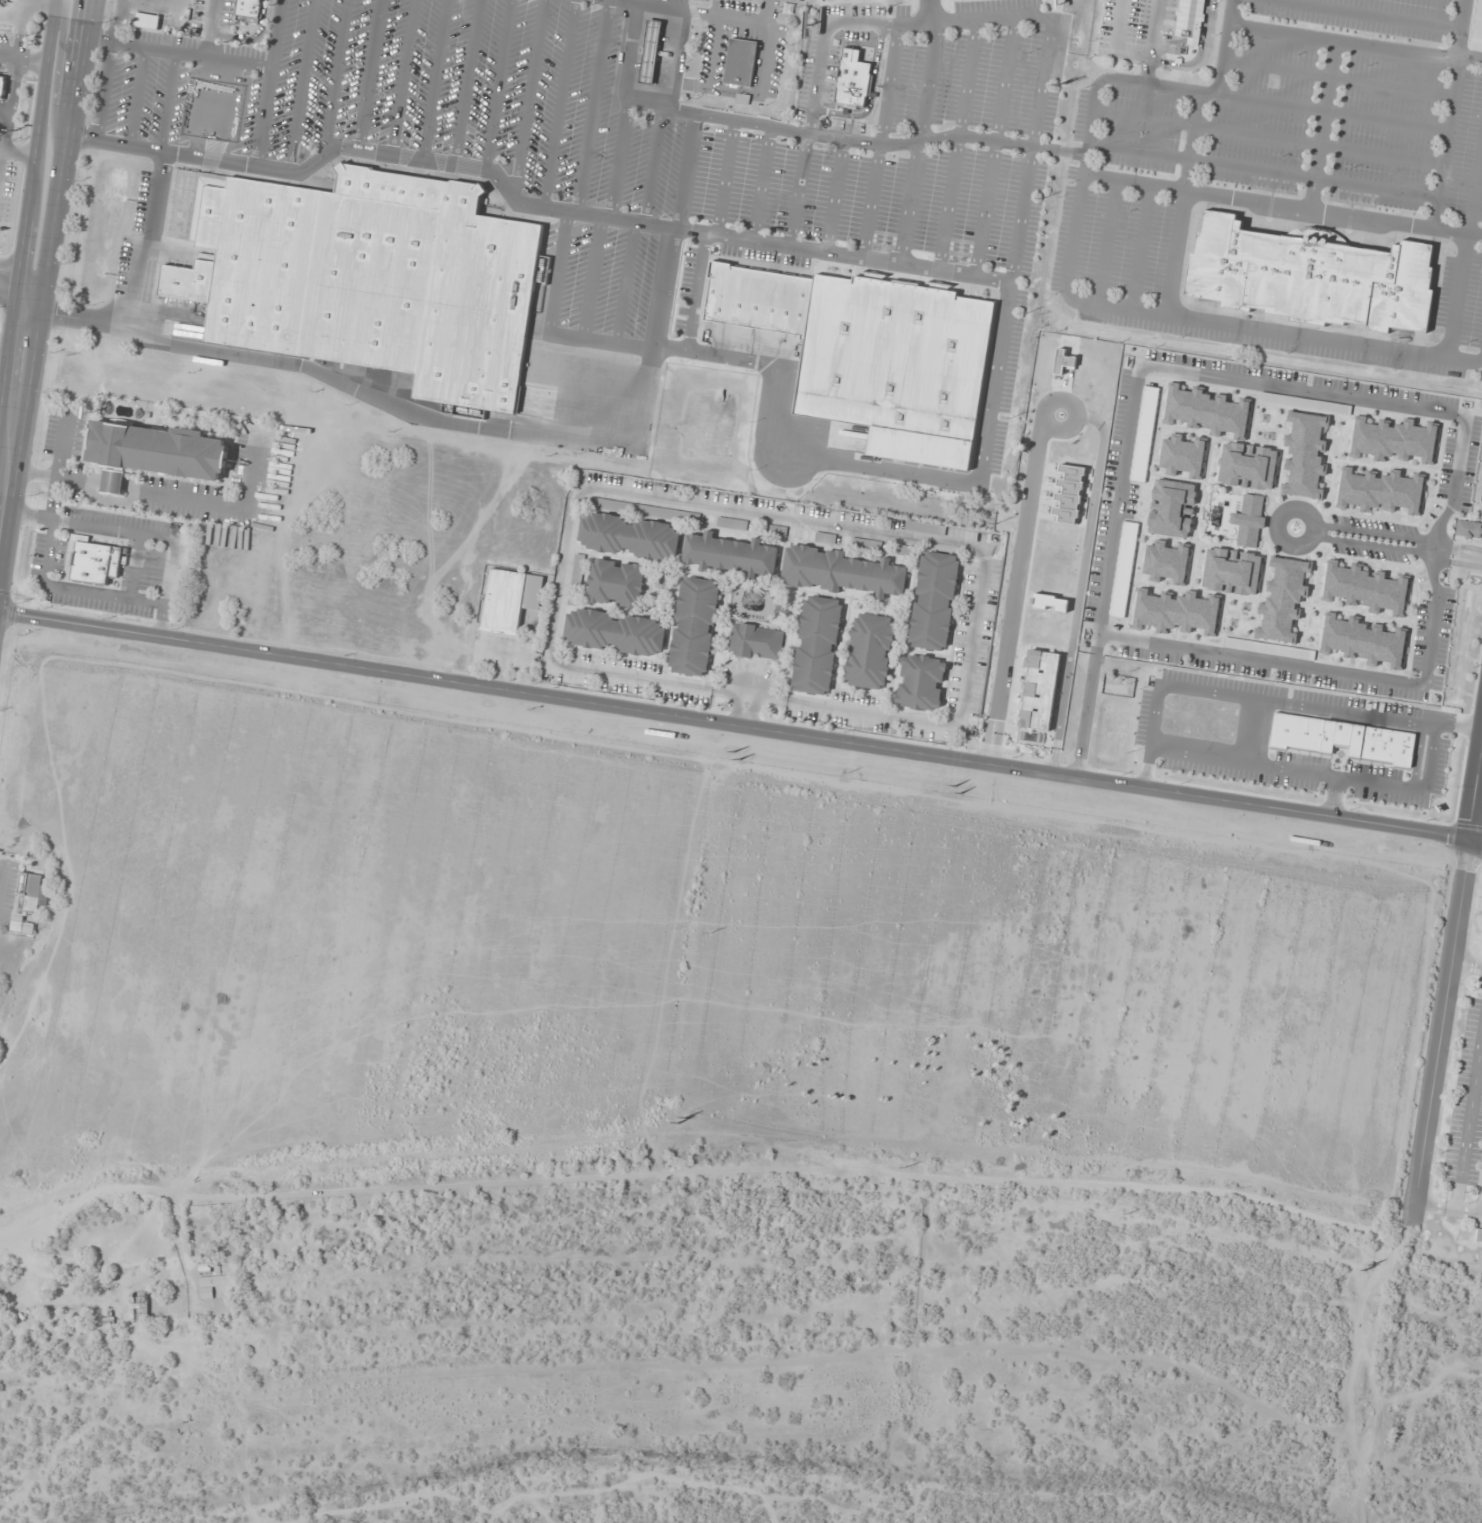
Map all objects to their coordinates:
building: (0, 0)
building: (247, 10)
road: (928, 12)
road: (766, 13)
road: (1366, 14)
road: (1015, 17)
building: (1188, 20)
road: (115, 21)
building: (145, 21)
road: (210, 29)
road: (252, 38)
road: (633, 40)
road: (1152, 42)
road: (768, 43)
road: (1354, 43)
road: (1115, 45)
road: (1224, 47)
building: (651, 52)
road: (178, 53)
gas station: (649, 53)
road: (713, 53)
road: (1201, 56)
road: (23, 58)
road: (668, 58)
building: (738, 63)
road: (367, 74)
road: (402, 77)
road: (334, 78)
road: (1101, 78)
road: (433, 79)
road: (1338, 79)
building: (851, 80)
road: (267, 82)
road: (465, 82)
road: (496, 84)
road: (54, 85)
road: (300, 85)
building: (3, 88)
road: (104, 92)
road: (870, 95)
road: (135, 97)
road: (527, 99)
road: (166, 102)
road: (559, 104)
road: (591, 106)
road: (1333, 112)
road: (1451, 113)
road: (1322, 125)
road: (1194, 132)
road: (1267, 137)
road: (842, 140)
road: (879, 142)
road: (917, 143)
road: (956, 145)
road: (994, 147)
road: (618, 160)
road: (652, 165)
road: (1262, 171)
road: (724, 178)
road: (760, 184)
road: (1475, 188)
road: (796, 190)
road: (833, 196)
road: (1282, 204)
road: (528, 205)
road: (674, 231)
road: (1106, 243)
road: (150, 244)
road: (1139, 248)
road: (1176, 253)
building: (1310, 277)
road: (32, 278)
road: (591, 278)
building: (369, 280)
road: (28, 281)
road: (624, 283)
road: (695, 292)
road: (1457, 296)
building: (757, 300)
road: (1214, 323)
road: (603, 342)
building: (895, 366)
road: (992, 382)
road: (15, 387)
road: (378, 401)
road: (1075, 409)
building: (1207, 412)
fountain: (1059, 415)
building: (1145, 435)
building: (1393, 441)
building: (155, 452)
building: (1306, 454)
building: (1183, 456)
road: (827, 462)
building: (1249, 466)
building: (1381, 492)
road: (1116, 508)
building: (1171, 508)
building: (647, 510)
building: (1250, 521)
building: (732, 524)
building: (923, 527)
building: (1468, 530)
building: (776, 531)
building: (629, 536)
road: (1388, 536)
building: (825, 538)
building: (866, 544)
road: (953, 548)
road: (1386, 549)
building: (906, 551)
building: (730, 554)
building: (1167, 563)
building: (1124, 570)
building: (842, 571)
building: (1231, 572)
building: (617, 583)
road: (1079, 587)
building: (1366, 588)
road: (1013, 591)
building: (510, 599)
building: (935, 601)
building: (1283, 601)
building: (1176, 612)
building: (695, 626)
building: (614, 632)
building: (1363, 641)
building: (756, 642)
building: (817, 645)
building: (870, 652)
road: (551, 656)
building: (921, 682)
road: (748, 694)
road: (734, 709)
road: (751, 711)
road: (741, 727)
road: (1474, 785)
building: (30, 893)
building: (21, 925)
road: (1466, 965)
road: (1439, 1032)
road: (1467, 1117)
road: (1447, 1211)
building: (198, 1216)
building: (1479, 1236)
building: (140, 1306)
building: (182, 1307)

